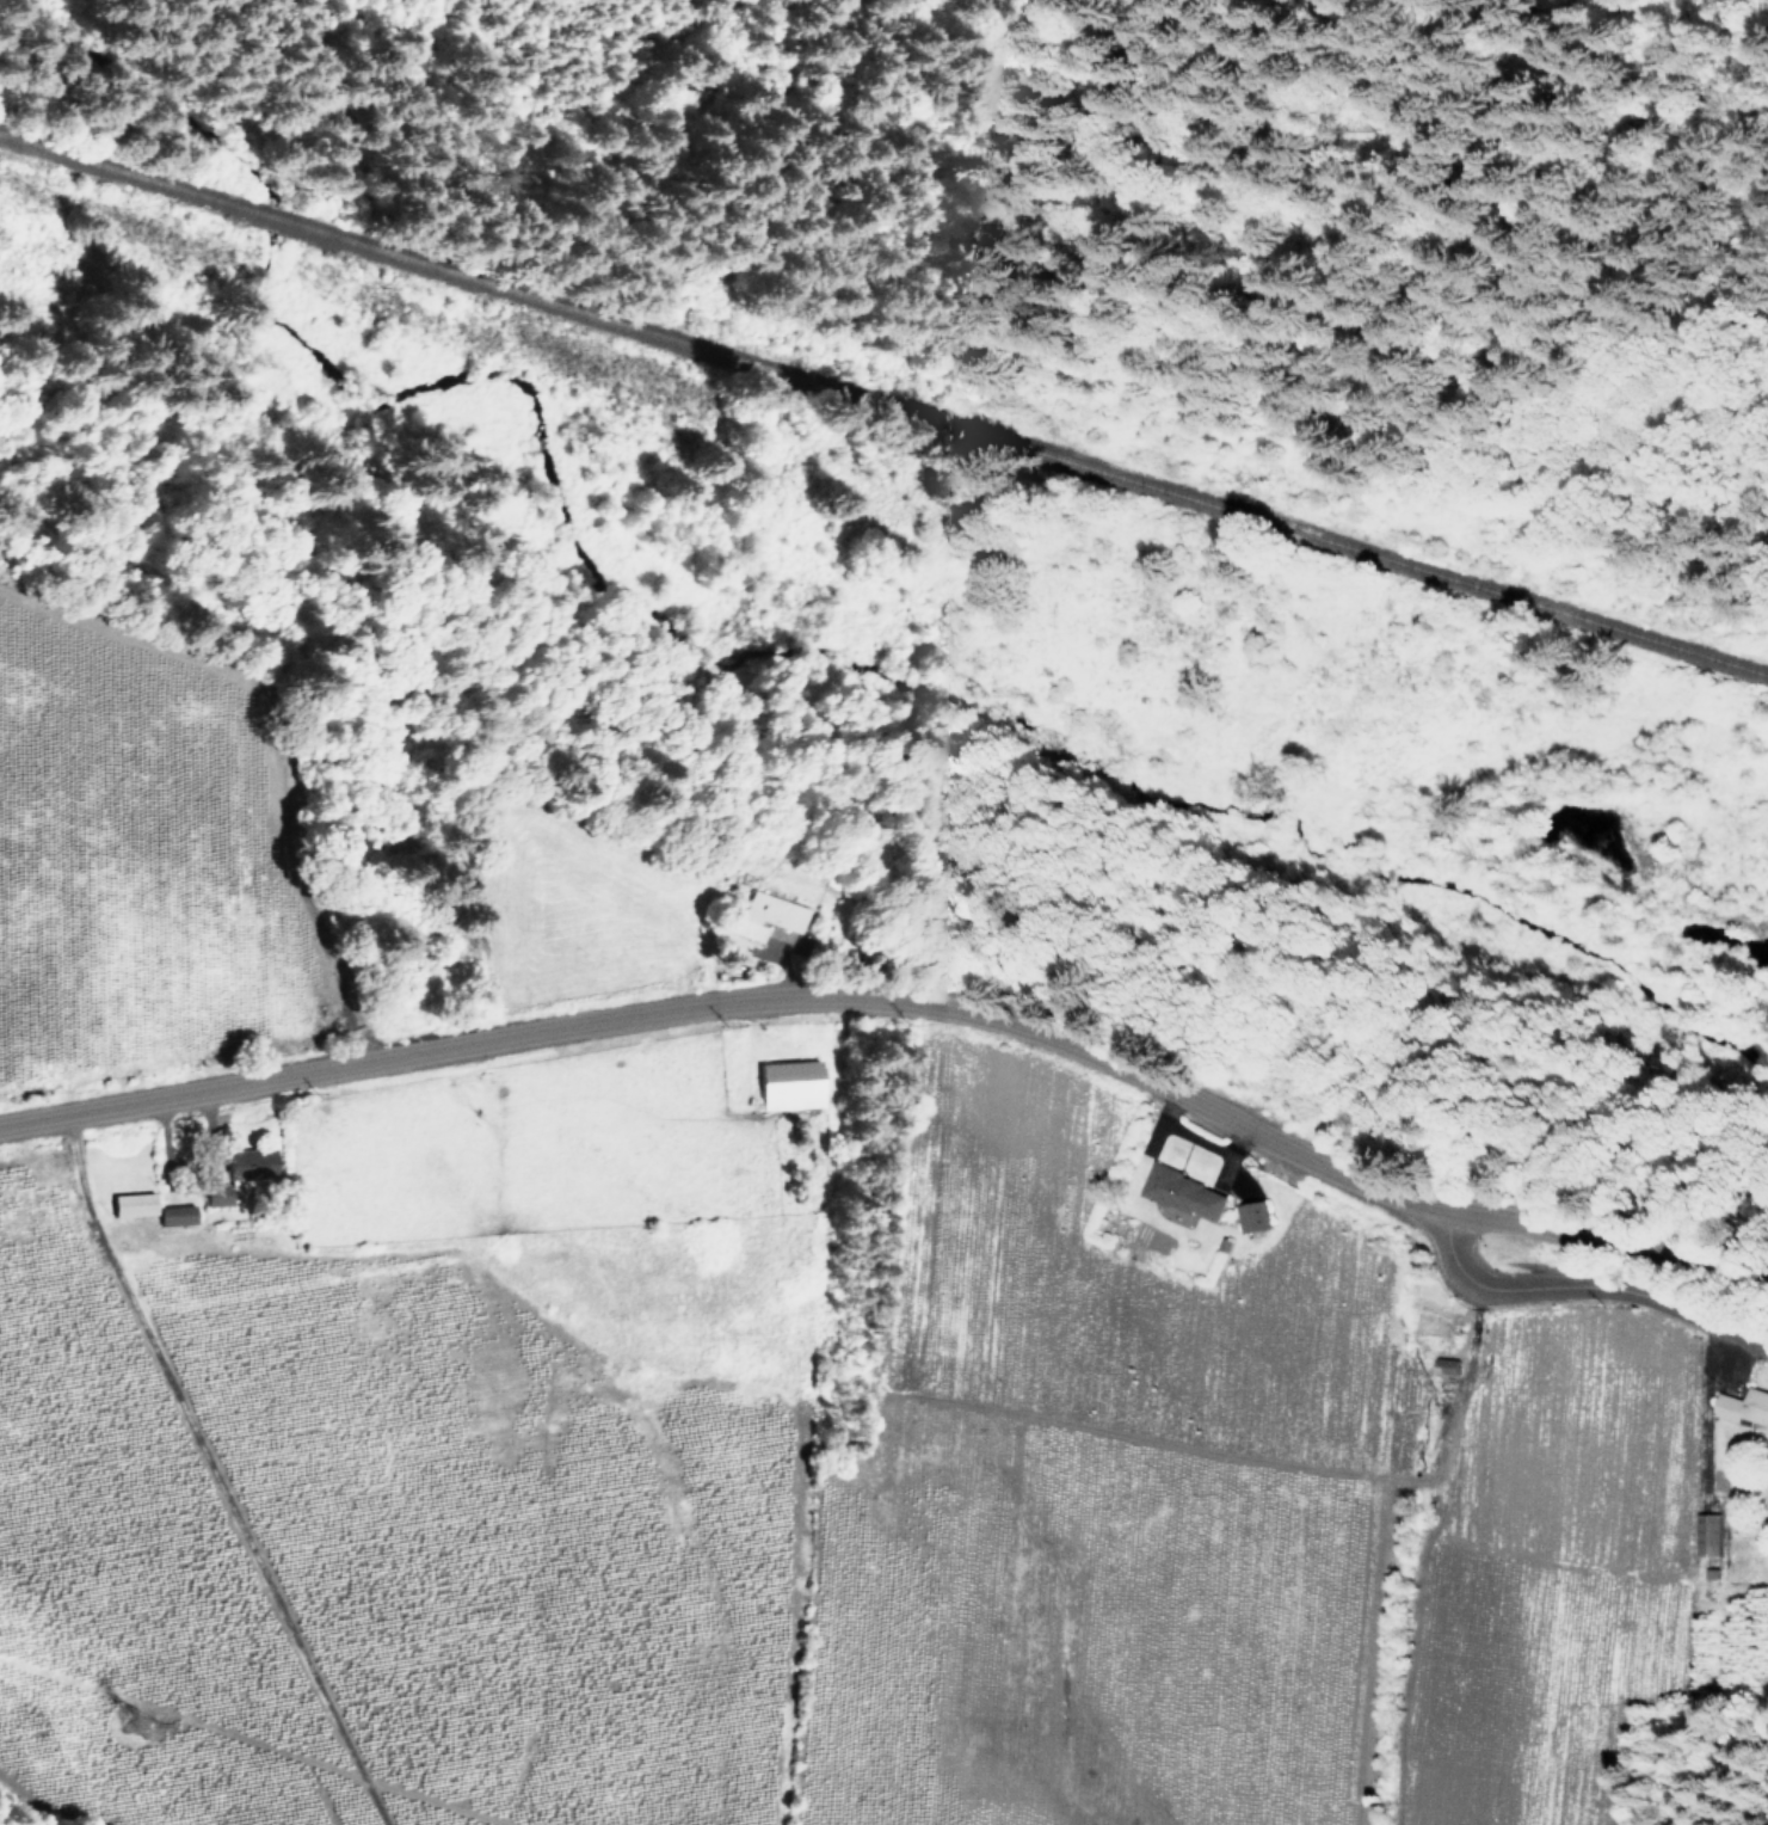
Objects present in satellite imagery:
railway: (883, 410)
road: (278, 705)
building: (763, 915)
road: (904, 1004)
building: (788, 1083)
building: (251, 1166)
building: (215, 1194)
building: (1179, 1194)
building: (131, 1202)
building: (174, 1213)
building: (1251, 1215)
road: (1587, 1291)
crop: (732, 1333)
building: (1443, 1364)
building: (1743, 1405)
road: (210, 1476)
building: (1705, 1532)
power tower: (141, 1731)

